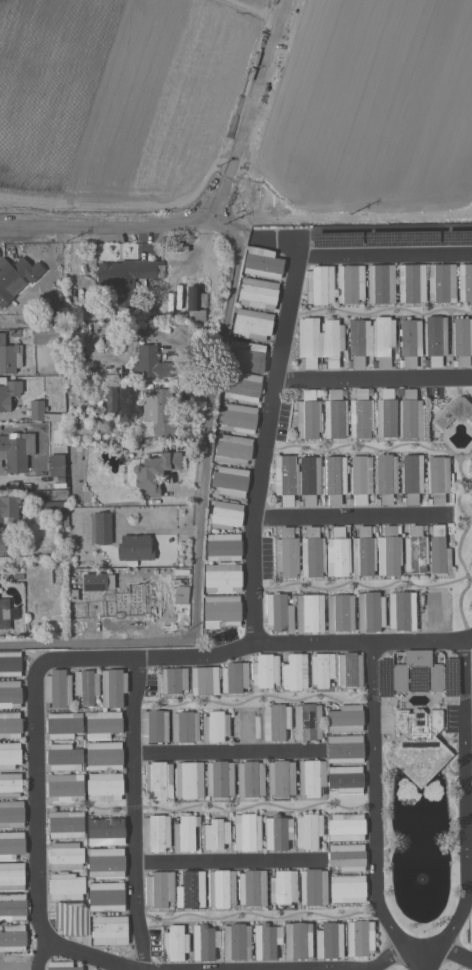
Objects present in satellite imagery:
road: (253, 10)
road: (282, 10)
crop: (238, 108)
road: (242, 135)
road: (115, 232)
building: (456, 238)
building: (401, 239)
building: (336, 240)
road: (383, 256)
building: (261, 263)
building: (15, 278)
building: (126, 278)
building: (464, 283)
building: (349, 284)
building: (411, 284)
building: (441, 284)
building: (319, 285)
building: (380, 285)
building: (258, 294)
building: (195, 305)
building: (251, 325)
building: (382, 340)
building: (434, 340)
building: (461, 341)
building: (308, 342)
building: (331, 342)
building: (358, 342)
building: (409, 342)
building: (246, 357)
building: (9, 358)
building: (150, 364)
road: (374, 381)
building: (242, 388)
building: (8, 393)
building: (160, 410)
building: (36, 411)
building: (453, 413)
building: (385, 415)
building: (334, 416)
building: (360, 416)
building: (409, 416)
building: (307, 417)
building: (236, 419)
road: (210, 435)
building: (232, 450)
building: (16, 452)
road: (373, 452)
road: (264, 453)
building: (55, 466)
building: (153, 473)
building: (471, 474)
building: (385, 478)
building: (333, 479)
building: (359, 479)
building: (410, 479)
building: (437, 479)
building: (285, 480)
building: (308, 480)
building: (229, 482)
building: (52, 507)
building: (225, 516)
building: (7, 517)
road: (350, 517)
building: (99, 529)
road: (459, 543)
building: (223, 548)
building: (134, 549)
building: (415, 551)
building: (438, 552)
building: (363, 553)
building: (388, 553)
building: (286, 554)
building: (311, 554)
building: (337, 554)
building: (222, 578)
building: (94, 583)
road: (367, 590)
building: (180, 596)
building: (401, 611)
building: (432, 611)
building: (221, 612)
building: (370, 612)
building: (278, 613)
building: (339, 613)
building: (3, 614)
building: (309, 614)
road: (97, 642)
road: (245, 649)
building: (9, 666)
building: (321, 670)
building: (349, 670)
building: (264, 671)
building: (294, 673)
building: (233, 678)
building: (384, 678)
building: (435, 678)
building: (451, 678)
building: (417, 680)
building: (172, 681)
building: (203, 682)
building: (85, 687)
building: (112, 688)
building: (56, 689)
building: (9, 695)
building: (471, 715)
building: (344, 719)
building: (275, 722)
building: (307, 723)
building: (102, 725)
building: (245, 725)
building: (9, 726)
building: (63, 726)
building: (154, 726)
building: (214, 727)
building: (184, 728)
building: (419, 747)
building: (344, 749)
road: (224, 755)
building: (9, 756)
building: (103, 756)
building: (63, 758)
building: (310, 778)
building: (280, 779)
building: (219, 780)
building: (249, 780)
building: (345, 780)
building: (158, 781)
building: (188, 781)
building: (10, 786)
building: (104, 787)
building: (64, 788)
road: (463, 798)
road: (373, 799)
building: (11, 815)
road: (132, 815)
building: (65, 825)
road: (36, 827)
building: (345, 828)
building: (104, 831)
building: (307, 831)
building: (155, 833)
building: (246, 833)
building: (184, 834)
building: (275, 834)
building: (215, 835)
building: (11, 845)
building: (64, 856)
building: (346, 858)
building: (105, 863)
road: (227, 864)
building: (11, 876)
building: (65, 888)
building: (282, 888)
building: (313, 888)
building: (220, 889)
building: (251, 889)
building: (347, 889)
building: (158, 890)
building: (190, 891)
building: (106, 898)
building: (12, 907)
building: (71, 919)
building: (108, 931)
building: (470, 932)
building: (12, 938)
building: (359, 939)
building: (264, 941)
building: (297, 941)
building: (328, 941)
building: (236, 943)
building: (173, 944)
building: (202, 944)
road: (420, 951)
road: (454, 953)
road: (386, 957)
road: (82, 959)
road: (420, 961)
building: (13, 963)
building: (60, 966)

